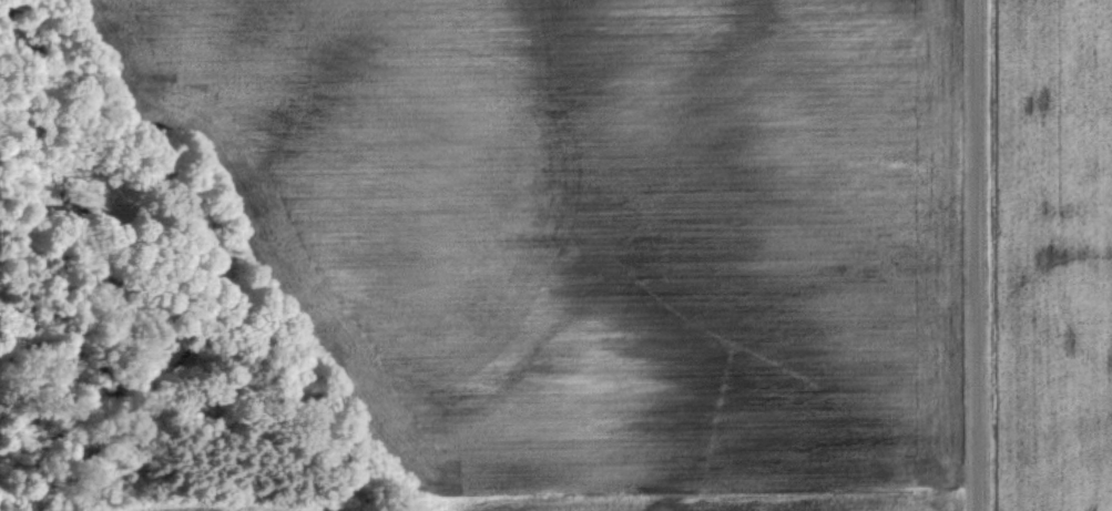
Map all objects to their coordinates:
road: (971, 255)

